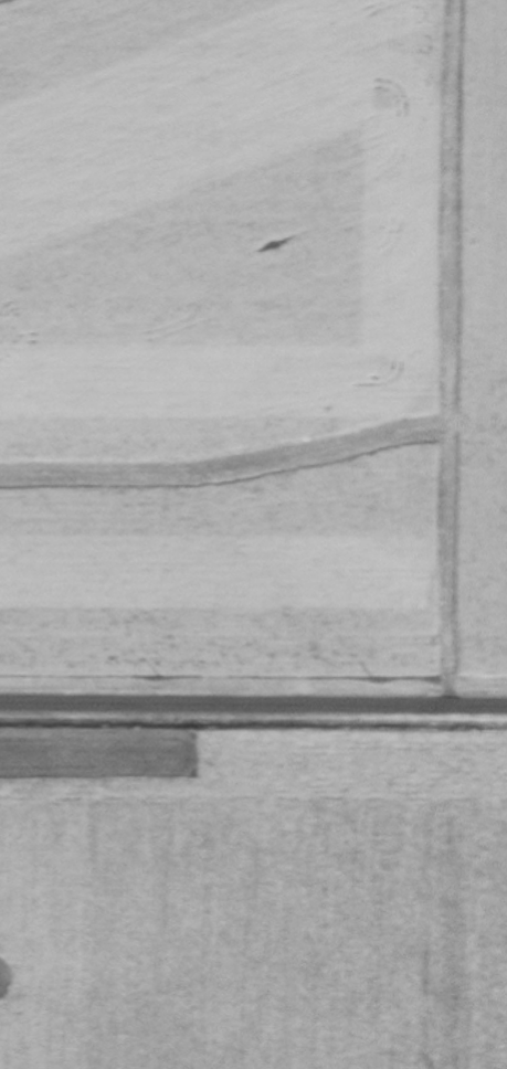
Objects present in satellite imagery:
road: (253, 706)

